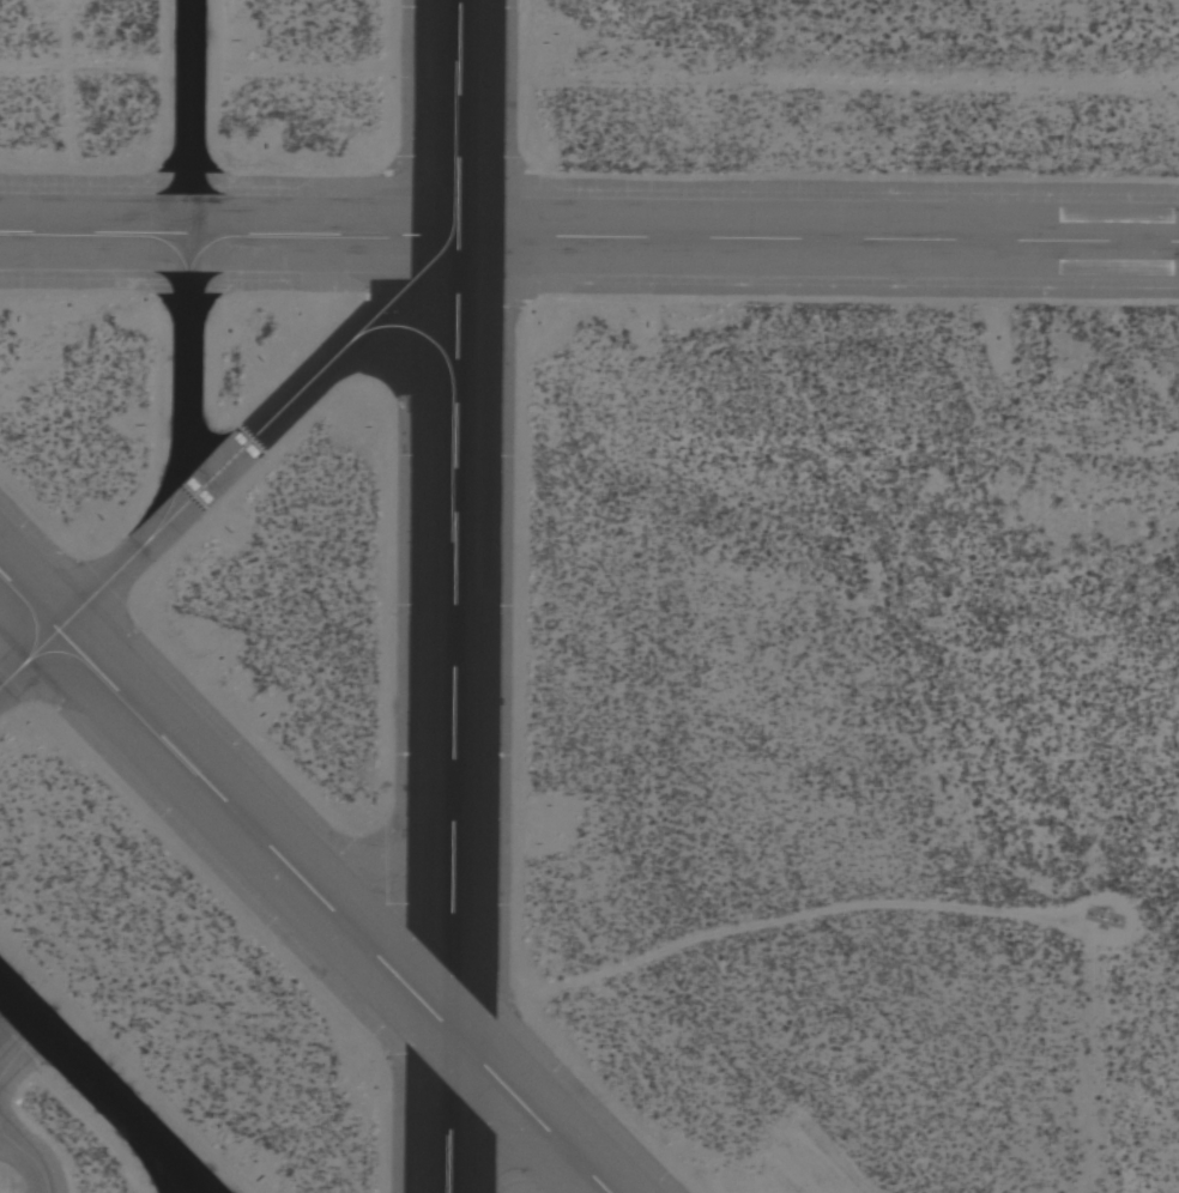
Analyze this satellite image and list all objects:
airport runway: (588, 212)
airport taxiway: (186, 246)
airport taxiway: (229, 448)
airport runway: (454, 595)
airport: (589, 596)
airport runway: (307, 877)
airport taxiway: (93, 1091)

